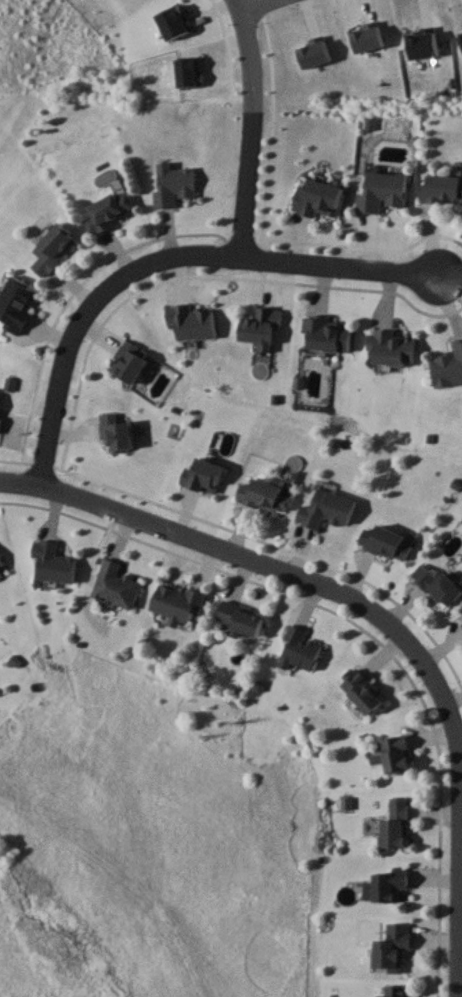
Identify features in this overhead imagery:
road: (256, 4)
road: (251, 59)
building: (173, 183)
road: (246, 188)
building: (442, 188)
building: (383, 191)
building: (108, 210)
building: (52, 247)
road: (165, 258)
building: (327, 333)
building: (392, 347)
building: (128, 362)
building: (448, 366)
building: (265, 495)
building: (327, 509)
building: (386, 542)
building: (53, 562)
building: (116, 584)
building: (438, 585)
building: (177, 602)
building: (240, 617)
road: (375, 623)
building: (300, 648)
building: (362, 692)
building: (396, 754)
building: (396, 824)
building: (388, 886)
building: (392, 947)
building: (396, 991)

